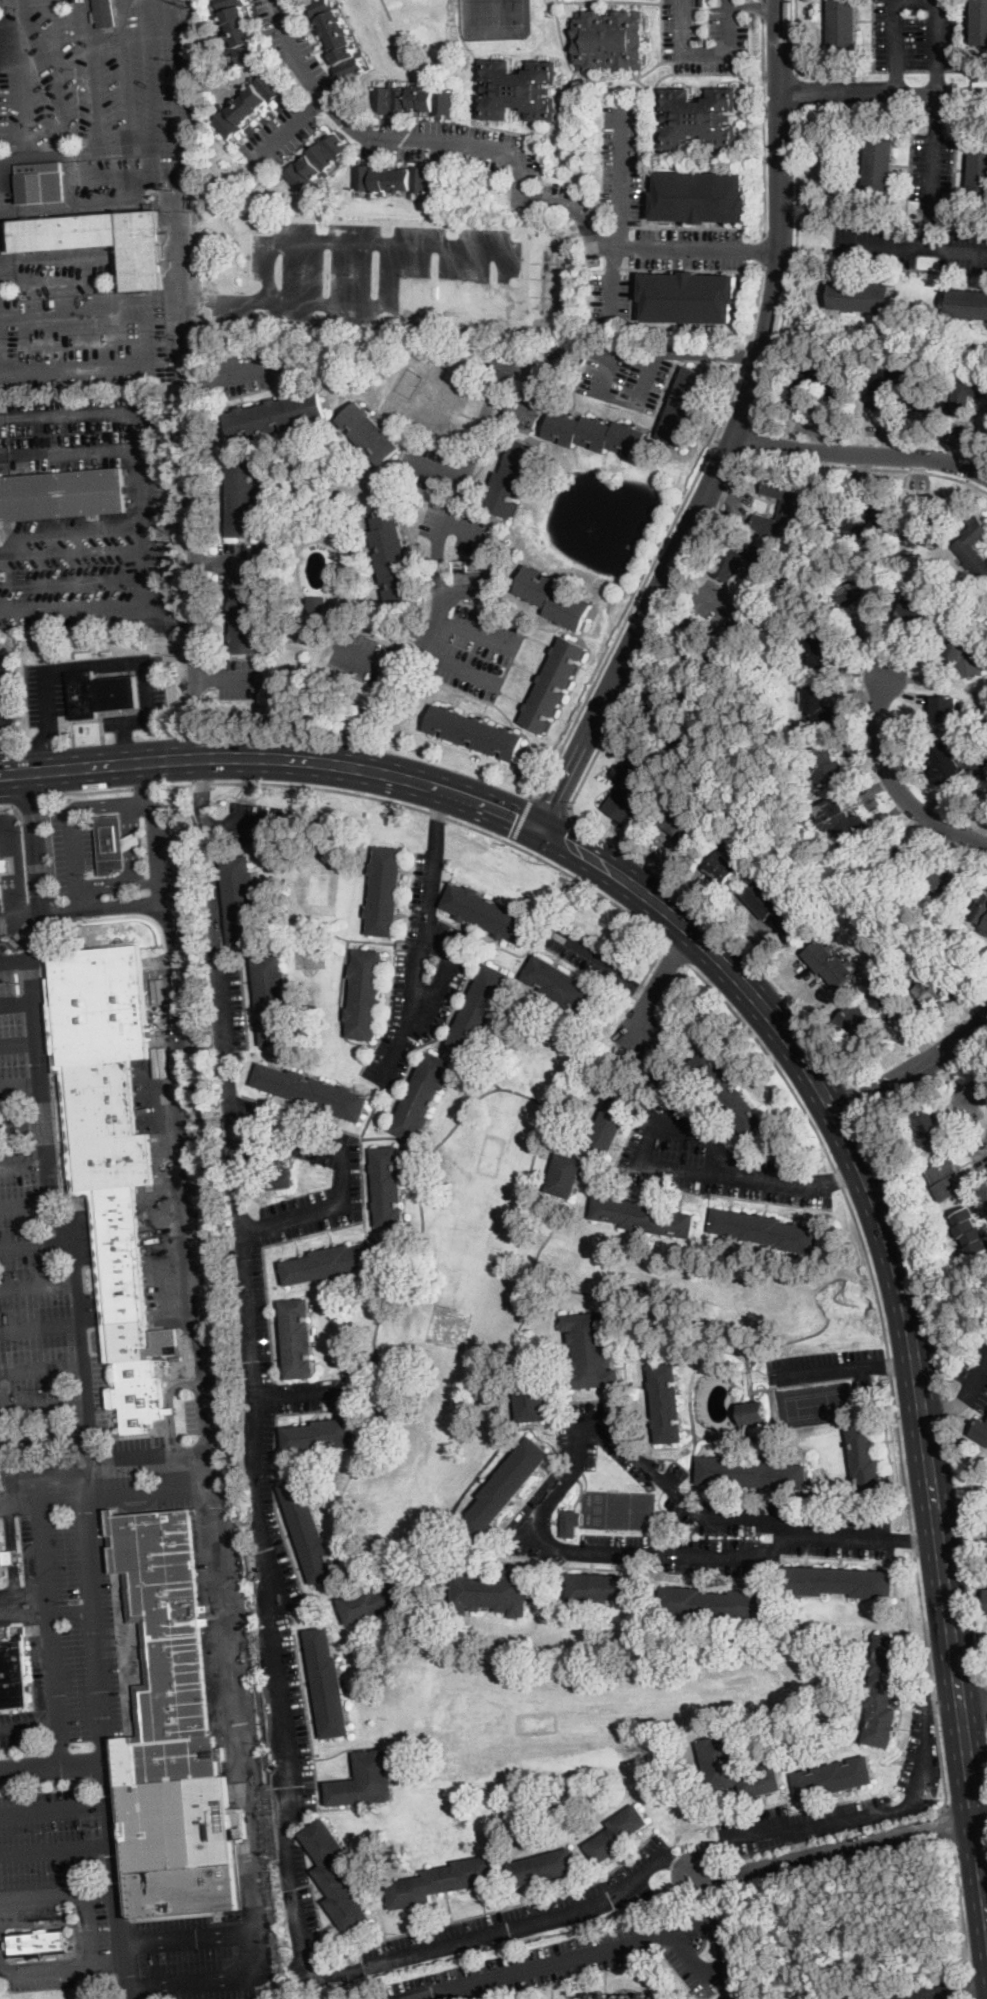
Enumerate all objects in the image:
road: (914, 0)
building: (702, 2)
road: (754, 5)
road: (763, 9)
building: (105, 14)
park: (495, 14)
building: (981, 22)
building: (843, 23)
building: (239, 32)
parking lot: (916, 33)
parking lot: (703, 34)
road: (797, 37)
building: (336, 39)
building: (609, 41)
road: (705, 53)
road: (842, 71)
road: (894, 84)
road: (938, 84)
building: (519, 90)
road: (798, 92)
road: (883, 92)
parking lot: (99, 94)
building: (412, 100)
building: (247, 105)
building: (700, 118)
road: (762, 126)
road: (290, 130)
road: (90, 152)
parking lot: (502, 152)
road: (512, 156)
building: (544, 159)
parking lot: (620, 159)
building: (316, 163)
building: (880, 164)
parking lot: (932, 166)
building: (978, 172)
building: (392, 179)
building: (41, 183)
road: (182, 187)
building: (702, 197)
road: (931, 200)
road: (623, 214)
parking lot: (577, 215)
building: (103, 241)
road: (885, 245)
parking lot: (908, 246)
road: (764, 248)
road: (796, 270)
parking lot: (380, 275)
road: (504, 285)
parking lot: (612, 289)
building: (863, 296)
building: (690, 298)
building: (969, 304)
parking lot: (84, 324)
road: (150, 340)
road: (685, 352)
parking lot: (257, 369)
road: (242, 372)
road: (601, 372)
road: (645, 377)
parking lot: (626, 380)
building: (837, 391)
building: (878, 394)
building: (967, 395)
road: (514, 400)
building: (686, 407)
parking lot: (521, 408)
building: (276, 415)
building: (931, 415)
building: (369, 433)
building: (596, 434)
road: (750, 437)
road: (730, 438)
parking lot: (87, 440)
road: (68, 451)
road: (860, 453)
road: (434, 465)
parking lot: (426, 468)
road: (866, 469)
building: (514, 478)
road: (196, 481)
building: (62, 494)
building: (245, 498)
building: (789, 505)
building: (879, 515)
road: (143, 520)
fountain: (596, 521)
road: (441, 528)
parking lot: (459, 528)
road: (468, 529)
building: (929, 532)
road: (68, 536)
building: (0, 537)
road: (665, 544)
building: (393, 550)
building: (973, 550)
road: (228, 562)
building: (272, 562)
parking lot: (240, 563)
building: (722, 570)
road: (125, 572)
parking lot: (86, 573)
road: (79, 574)
road: (40, 575)
road: (465, 579)
parking lot: (484, 579)
road: (7, 582)
building: (855, 593)
building: (553, 598)
building: (317, 608)
building: (920, 611)
building: (246, 621)
road: (477, 631)
road: (654, 634)
building: (727, 647)
building: (818, 648)
parking lot: (477, 653)
building: (59, 656)
parking lot: (363, 656)
building: (965, 659)
road: (369, 660)
road: (95, 662)
road: (460, 667)
road: (237, 679)
parking lot: (244, 679)
parking lot: (156, 683)
building: (554, 685)
parking lot: (5, 693)
building: (100, 694)
parking lot: (46, 695)
building: (820, 707)
building: (945, 709)
building: (709, 718)
building: (475, 732)
road: (279, 746)
road: (125, 749)
road: (201, 759)
road: (40, 760)
building: (944, 762)
building: (824, 766)
building: (980, 769)
road: (1, 774)
building: (531, 780)
road: (896, 785)
road: (144, 787)
building: (628, 789)
road: (84, 792)
road: (554, 800)
road: (26, 803)
traffic signals: (556, 803)
road: (6, 805)
road: (429, 810)
road: (70, 817)
road: (438, 817)
road: (523, 819)
building: (844, 820)
road: (158, 824)
parking lot: (256, 824)
road: (243, 825)
building: (684, 826)
traffic signals: (510, 830)
traffic signals: (568, 830)
road: (560, 838)
building: (133, 840)
building: (111, 844)
parking lot: (161, 848)
parking lot: (73, 853)
building: (901, 859)
road: (132, 864)
road: (17, 866)
building: (722, 869)
road: (7, 872)
road: (650, 872)
building: (946, 881)
building: (1, 884)
building: (385, 892)
building: (241, 900)
building: (981, 908)
building: (778, 910)
building: (297, 912)
building: (488, 913)
parking lot: (1, 918)
road: (19, 920)
building: (985, 930)
parking lot: (583, 952)
road: (677, 954)
road: (16, 958)
road: (602, 964)
building: (830, 964)
road: (451, 969)
road: (420, 973)
road: (646, 973)
road: (718, 974)
parking lot: (421, 976)
road: (663, 977)
building: (563, 986)
building: (932, 988)
building: (365, 994)
road: (779, 997)
building: (272, 1000)
road: (17, 1003)
parking lot: (226, 1004)
building: (480, 1009)
building: (857, 1024)
parking lot: (21, 1027)
road: (19, 1044)
road: (977, 1062)
road: (909, 1077)
road: (21, 1082)
building: (313, 1091)
building: (729, 1094)
building: (423, 1097)
road: (676, 1111)
road: (183, 1114)
parking lot: (245, 1120)
road: (22, 1122)
building: (611, 1123)
building: (928, 1124)
road: (46, 1145)
parking lot: (704, 1150)
building: (110, 1155)
road: (24, 1161)
building: (275, 1164)
road: (656, 1166)
road: (846, 1173)
building: (566, 1175)
parking lot: (346, 1177)
road: (776, 1177)
building: (279, 1180)
building: (947, 1180)
building: (388, 1186)
road: (345, 1201)
road: (26, 1207)
building: (645, 1216)
building: (767, 1230)
building: (970, 1231)
road: (903, 1244)
road: (32, 1245)
building: (335, 1262)
road: (38, 1283)
parking lot: (31, 1294)
parking lot: (252, 1315)
road: (934, 1321)
road: (40, 1325)
building: (297, 1339)
building: (592, 1350)
road: (888, 1358)
road: (904, 1363)
parking lot: (827, 1366)
road: (42, 1368)
road: (827, 1372)
parking lot: (975, 1373)
parking lot: (91, 1394)
road: (290, 1394)
parking lot: (309, 1394)
building: (531, 1401)
road: (957, 1402)
building: (667, 1403)
park: (814, 1403)
road: (44, 1407)
building: (169, 1411)
building: (752, 1412)
building: (981, 1431)
building: (321, 1435)
road: (0, 1439)
road: (579, 1446)
building: (867, 1464)
road: (208, 1471)
building: (752, 1472)
parking lot: (101, 1480)
road: (5, 1486)
building: (507, 1486)
road: (3, 1497)
parking lot: (9, 1503)
parking lot: (676, 1514)
building: (570, 1523)
building: (309, 1532)
road: (923, 1542)
road: (11, 1547)
building: (9, 1557)
building: (1, 1560)
road: (262, 1575)
building: (840, 1582)
building: (605, 1588)
building: (491, 1590)
road: (46, 1592)
building: (986, 1593)
road: (23, 1595)
building: (376, 1601)
building: (716, 1603)
parking lot: (14, 1606)
parking lot: (72, 1626)
parking lot: (279, 1639)
building: (13, 1674)
building: (328, 1684)
road: (986, 1688)
building: (884, 1691)
road: (935, 1695)
road: (967, 1701)
road: (239, 1710)
road: (102, 1715)
road: (30, 1725)
parking lot: (18, 1727)
building: (171, 1733)
parking lot: (920, 1765)
road: (52, 1766)
building: (736, 1769)
building: (833, 1778)
building: (366, 1781)
road: (55, 1809)
road: (875, 1814)
road: (945, 1824)
building: (618, 1834)
road: (838, 1834)
road: (800, 1845)
road: (967, 1847)
road: (57, 1850)
road: (843, 1850)
building: (543, 1867)
road: (834, 1871)
building: (336, 1877)
building: (443, 1882)
road: (57, 1892)
parking lot: (95, 1907)
parking lot: (527, 1914)
parking lot: (300, 1915)
road: (963, 1918)
road: (90, 1929)
building: (36, 1943)
road: (984, 1952)
road: (256, 1953)
road: (984, 1954)
road: (727, 1957)
parking lot: (599, 1958)
road: (539, 1967)
road: (62, 1970)
road: (968, 1992)
parking lot: (903, 1993)
building: (606, 1996)
building: (644, 1996)
road: (947, 1996)
building: (590, 1997)
building: (658, 1997)
building: (624, 1998)

